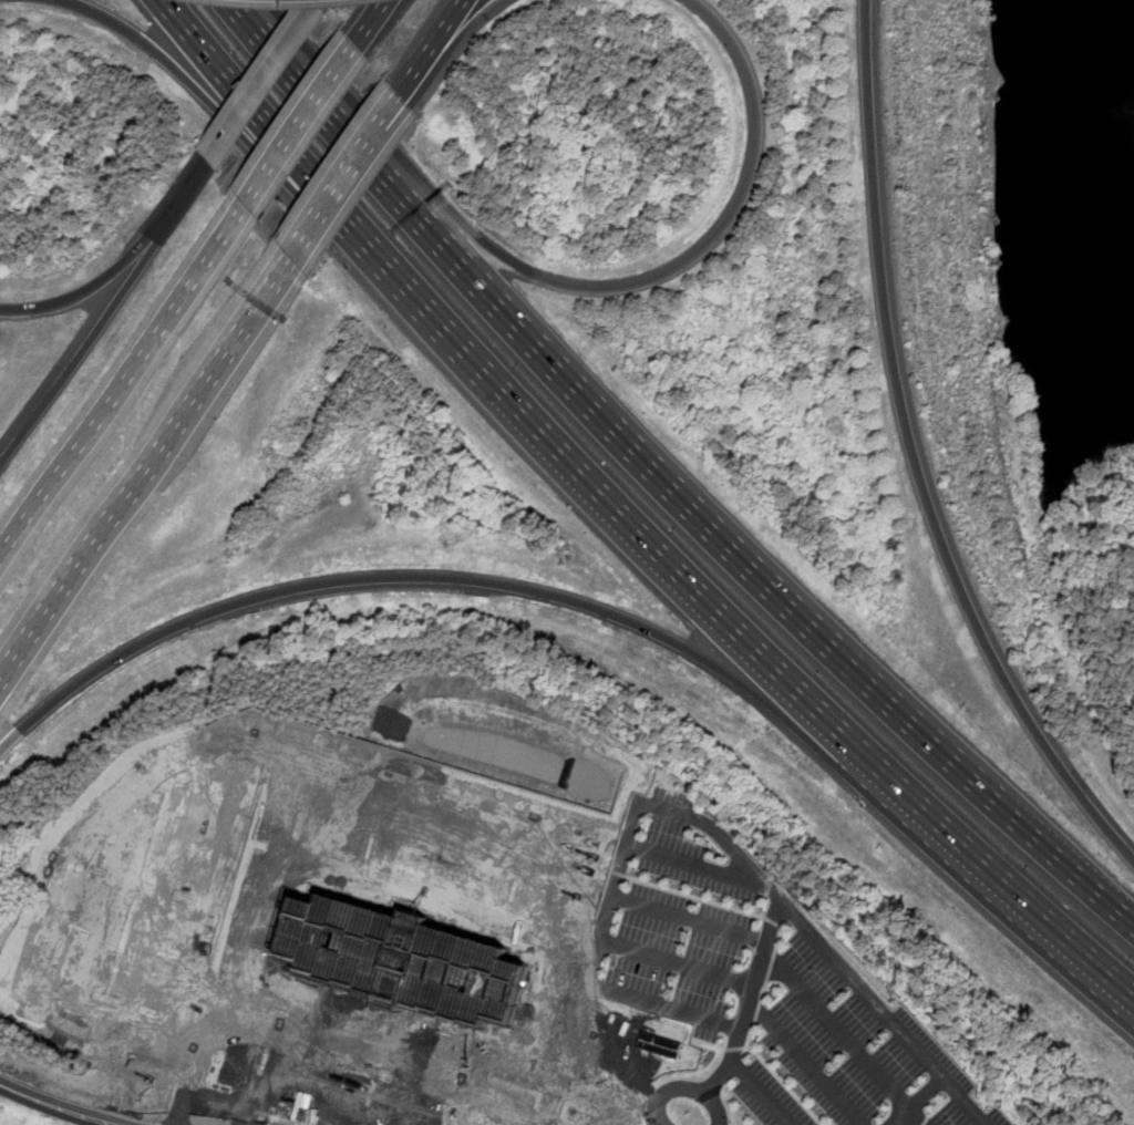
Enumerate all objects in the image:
road: (372, 19)
road: (447, 23)
road: (470, 27)
road: (414, 70)
road: (179, 73)
road: (331, 80)
road: (264, 81)
road: (233, 90)
road: (316, 92)
road: (372, 133)
road: (272, 163)
road: (195, 182)
road: (321, 206)
road: (318, 214)
road: (678, 265)
road: (103, 279)
road: (92, 337)
road: (122, 385)
road: (609, 424)
road: (549, 442)
road: (914, 458)
road: (144, 466)
road: (388, 577)
road: (983, 786)
road: (965, 846)
road: (450, 849)
road: (82, 850)
road: (698, 866)
road: (167, 887)
road: (616, 887)
road: (112, 896)
road: (436, 896)
road: (788, 909)
parking lot: (682, 919)
road: (690, 921)
road: (247, 938)
building: (381, 947)
road: (676, 966)
road: (259, 1018)
road: (836, 1032)
parking lot: (846, 1035)
road: (423, 1050)
road: (566, 1054)
road: (803, 1064)
road: (941, 1077)
road: (400, 1080)
road: (683, 1091)
road: (757, 1094)
road: (293, 1096)
parking lot: (769, 1097)
road: (55, 1106)
parking lot: (969, 1114)
road: (916, 1117)

